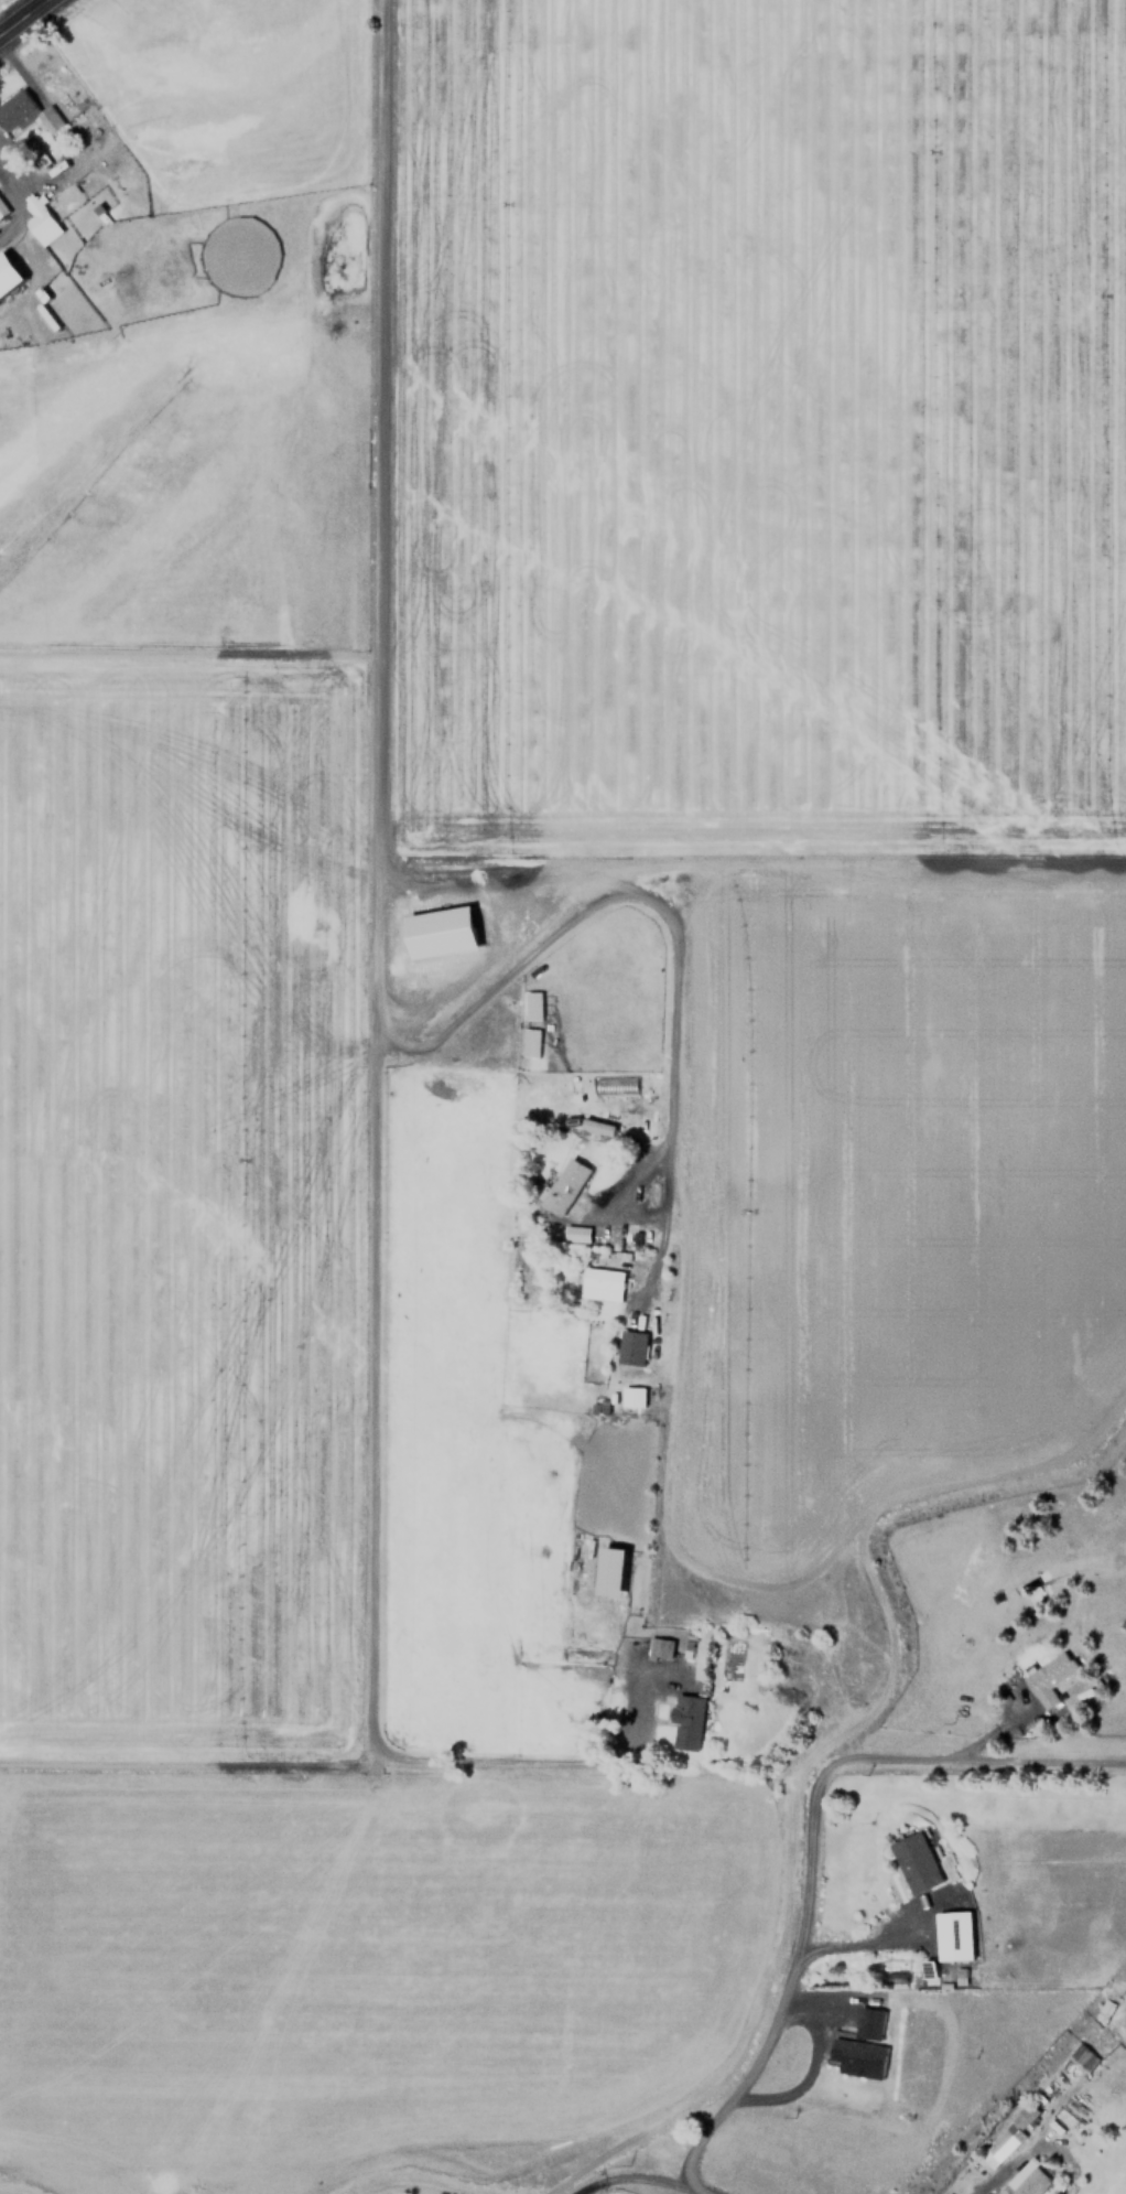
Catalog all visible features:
road: (22, 17)
building: (24, 114)
building: (2, 209)
building: (41, 221)
building: (8, 275)
crop: (169, 880)
building: (441, 932)
road: (379, 969)
building: (598, 1126)
building: (565, 1186)
building: (576, 1233)
building: (602, 1283)
building: (631, 1347)
building: (632, 1397)
building: (611, 1570)
building: (658, 1647)
building: (1049, 1679)
building: (684, 1722)
road: (810, 1838)
building: (914, 1862)
building: (952, 1935)
building: (896, 1976)
building: (1103, 2011)
building: (869, 2021)
building: (1082, 2054)
building: (858, 2056)
building: (1006, 2139)
road: (631, 2179)
building: (1029, 2180)
road: (700, 2190)

